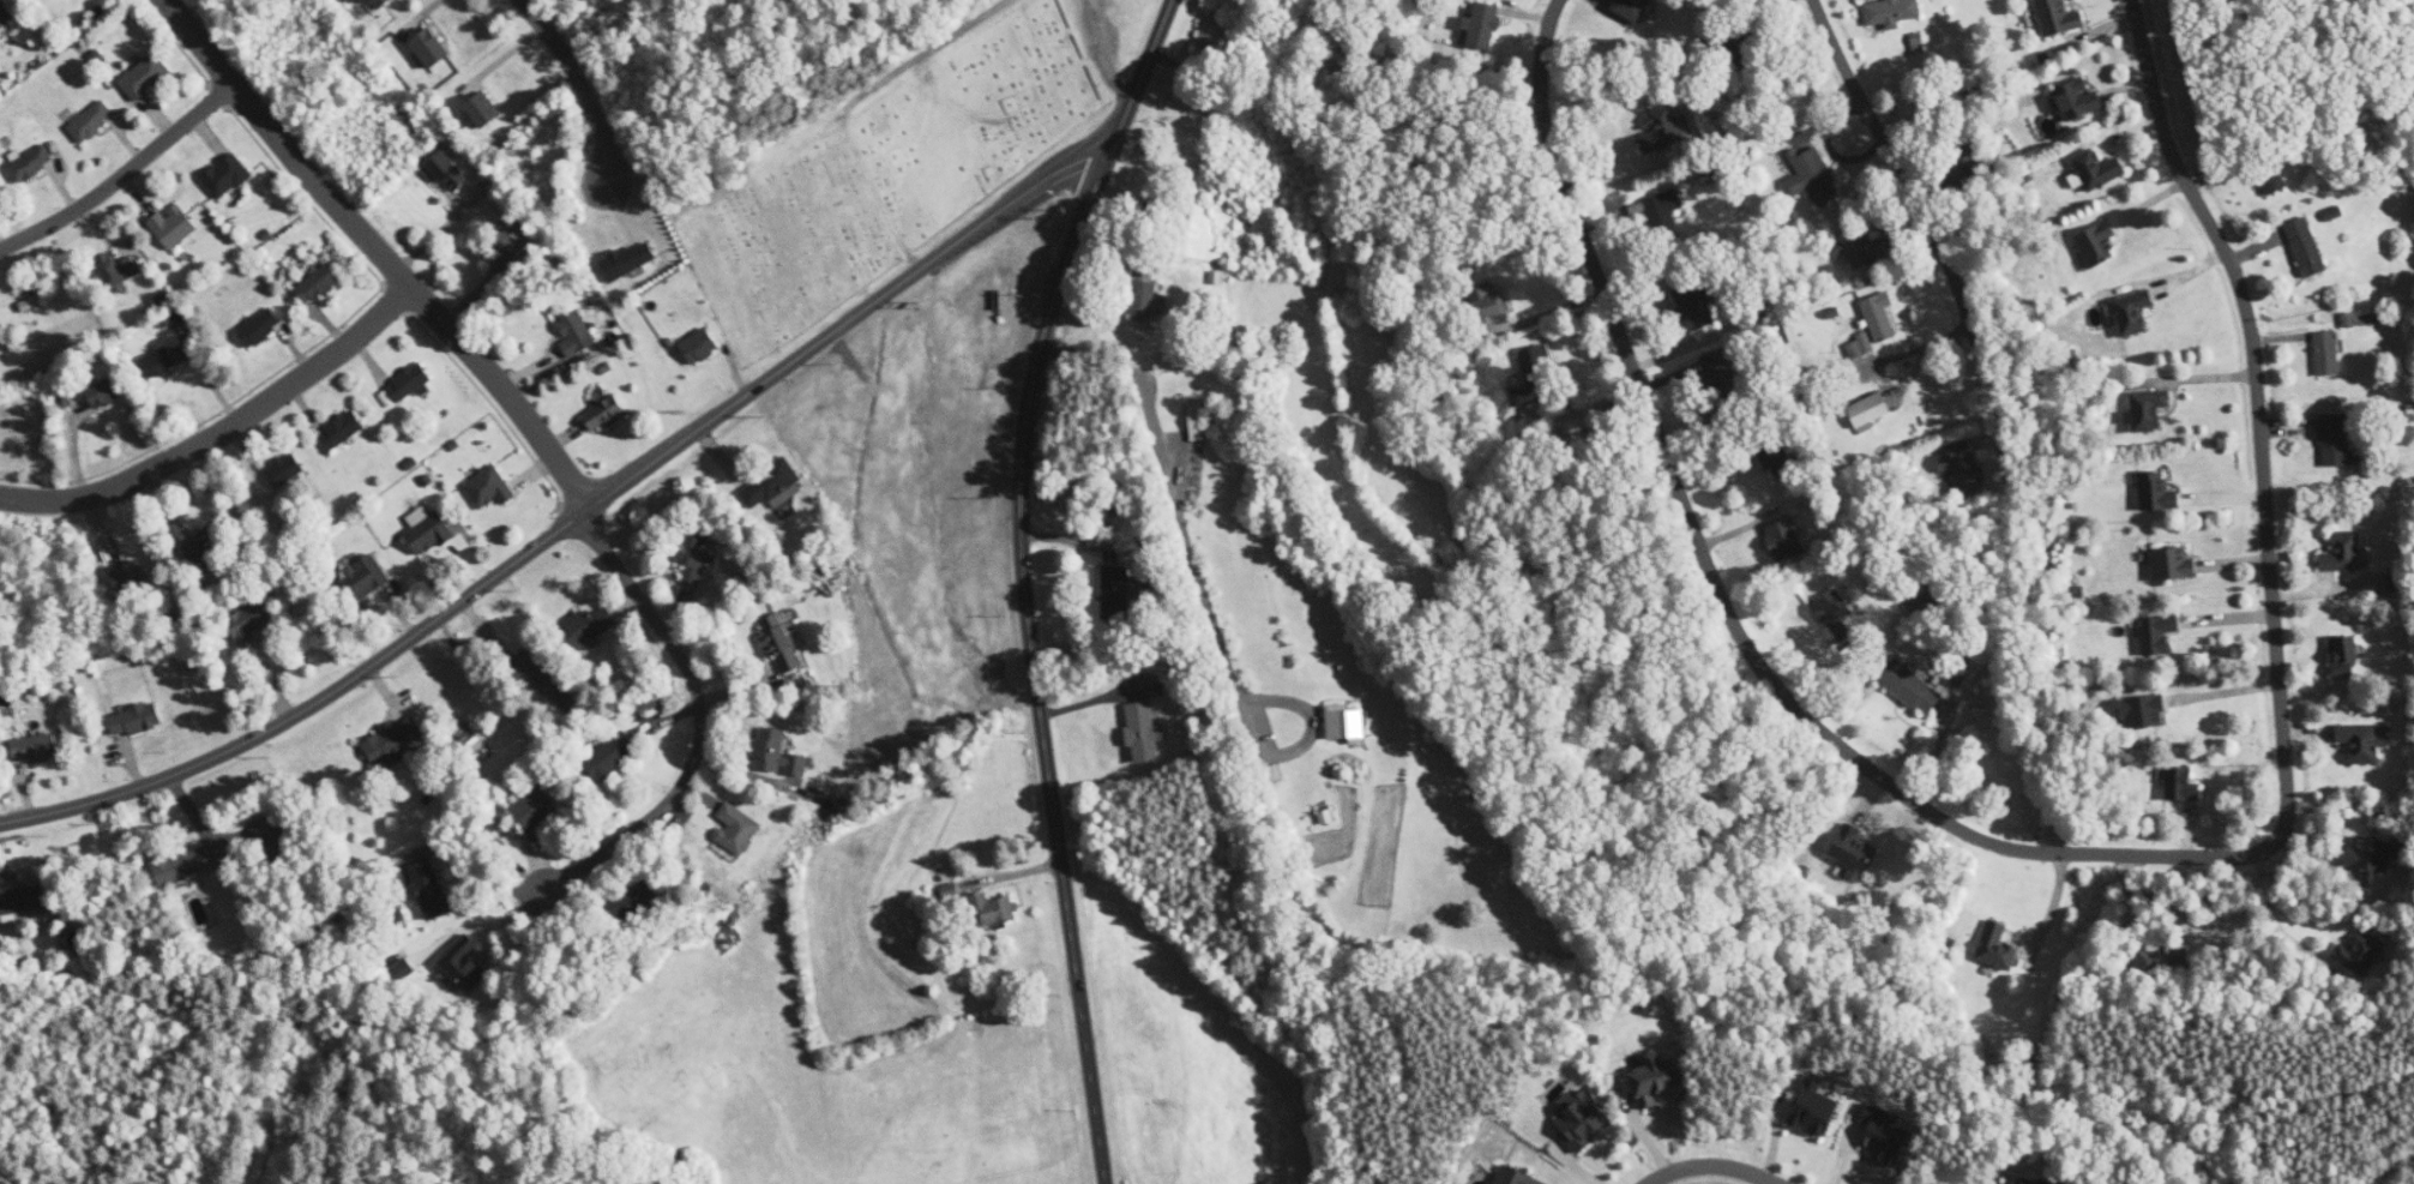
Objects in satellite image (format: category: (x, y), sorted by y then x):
building: (372, 1)
building: (1636, 11)
building: (1892, 11)
building: (6, 14)
building: (2058, 17)
building: (1483, 24)
building: (1214, 37)
building: (429, 44)
road: (1102, 53)
building: (146, 76)
road: (583, 84)
building: (2077, 98)
building: (484, 109)
building: (94, 118)
building: (1663, 130)
park: (842, 131)
building: (32, 163)
building: (2097, 169)
building: (449, 173)
road: (122, 174)
building: (228, 175)
building: (1816, 176)
building: (2275, 184)
road: (1895, 187)
building: (1666, 210)
building: (2334, 212)
building: (174, 226)
building: (2097, 244)
building: (2306, 246)
building: (511, 247)
building: (1867, 248)
road: (381, 250)
building: (630, 260)
building: (120, 269)
building: (318, 283)
building: (1144, 300)
building: (1494, 302)
building: (1696, 303)
building: (2133, 309)
building: (1880, 315)
building: (259, 327)
building: (577, 333)
building: (700, 345)
building: (1861, 345)
building: (2328, 353)
building: (1536, 361)
building: (159, 362)
building: (1166, 362)
building: (1724, 374)
building: (408, 384)
building: (106, 391)
building: (1868, 409)
building: (2148, 409)
building: (1197, 411)
building: (606, 414)
building: (2406, 426)
road: (223, 431)
building: (342, 431)
building: (2335, 439)
building: (1783, 455)
building: (1962, 467)
building: (285, 469)
building: (771, 483)
building: (488, 486)
building: (2157, 492)
road: (568, 519)
building: (429, 530)
building: (1786, 539)
building: (205, 545)
building: (2344, 552)
building: (697, 554)
building: (2173, 563)
building: (131, 575)
building: (366, 578)
road: (1025, 581)
building: (2392, 581)
road: (1199, 582)
building: (1116, 590)
building: (1925, 603)
building: (1837, 614)
building: (252, 620)
building: (590, 625)
building: (2157, 633)
building: (797, 638)
building: (778, 641)
building: (2344, 651)
building: (530, 661)
building: (1908, 685)
building: (2144, 710)
road: (699, 717)
building: (137, 719)
building: (1346, 721)
building: (1144, 731)
building: (393, 738)
building: (2364, 740)
building: (36, 747)
building: (772, 749)
building: (615, 751)
building: (799, 764)
building: (1272, 773)
building: (2179, 781)
building: (536, 809)
building: (1328, 816)
building: (740, 828)
building: (272, 837)
building: (1850, 847)
building: (2373, 853)
road: (2061, 860)
building: (183, 864)
building: (429, 882)
building: (643, 897)
building: (1003, 909)
road: (2049, 916)
road: (2278, 924)
building: (1997, 946)
building: (2360, 954)
building: (464, 964)
building: (1656, 1081)
building: (1808, 1114)
building: (1582, 1119)
building: (1885, 1135)
road: (1711, 1166)
building: (1517, 1177)
building: (2024, 1179)

